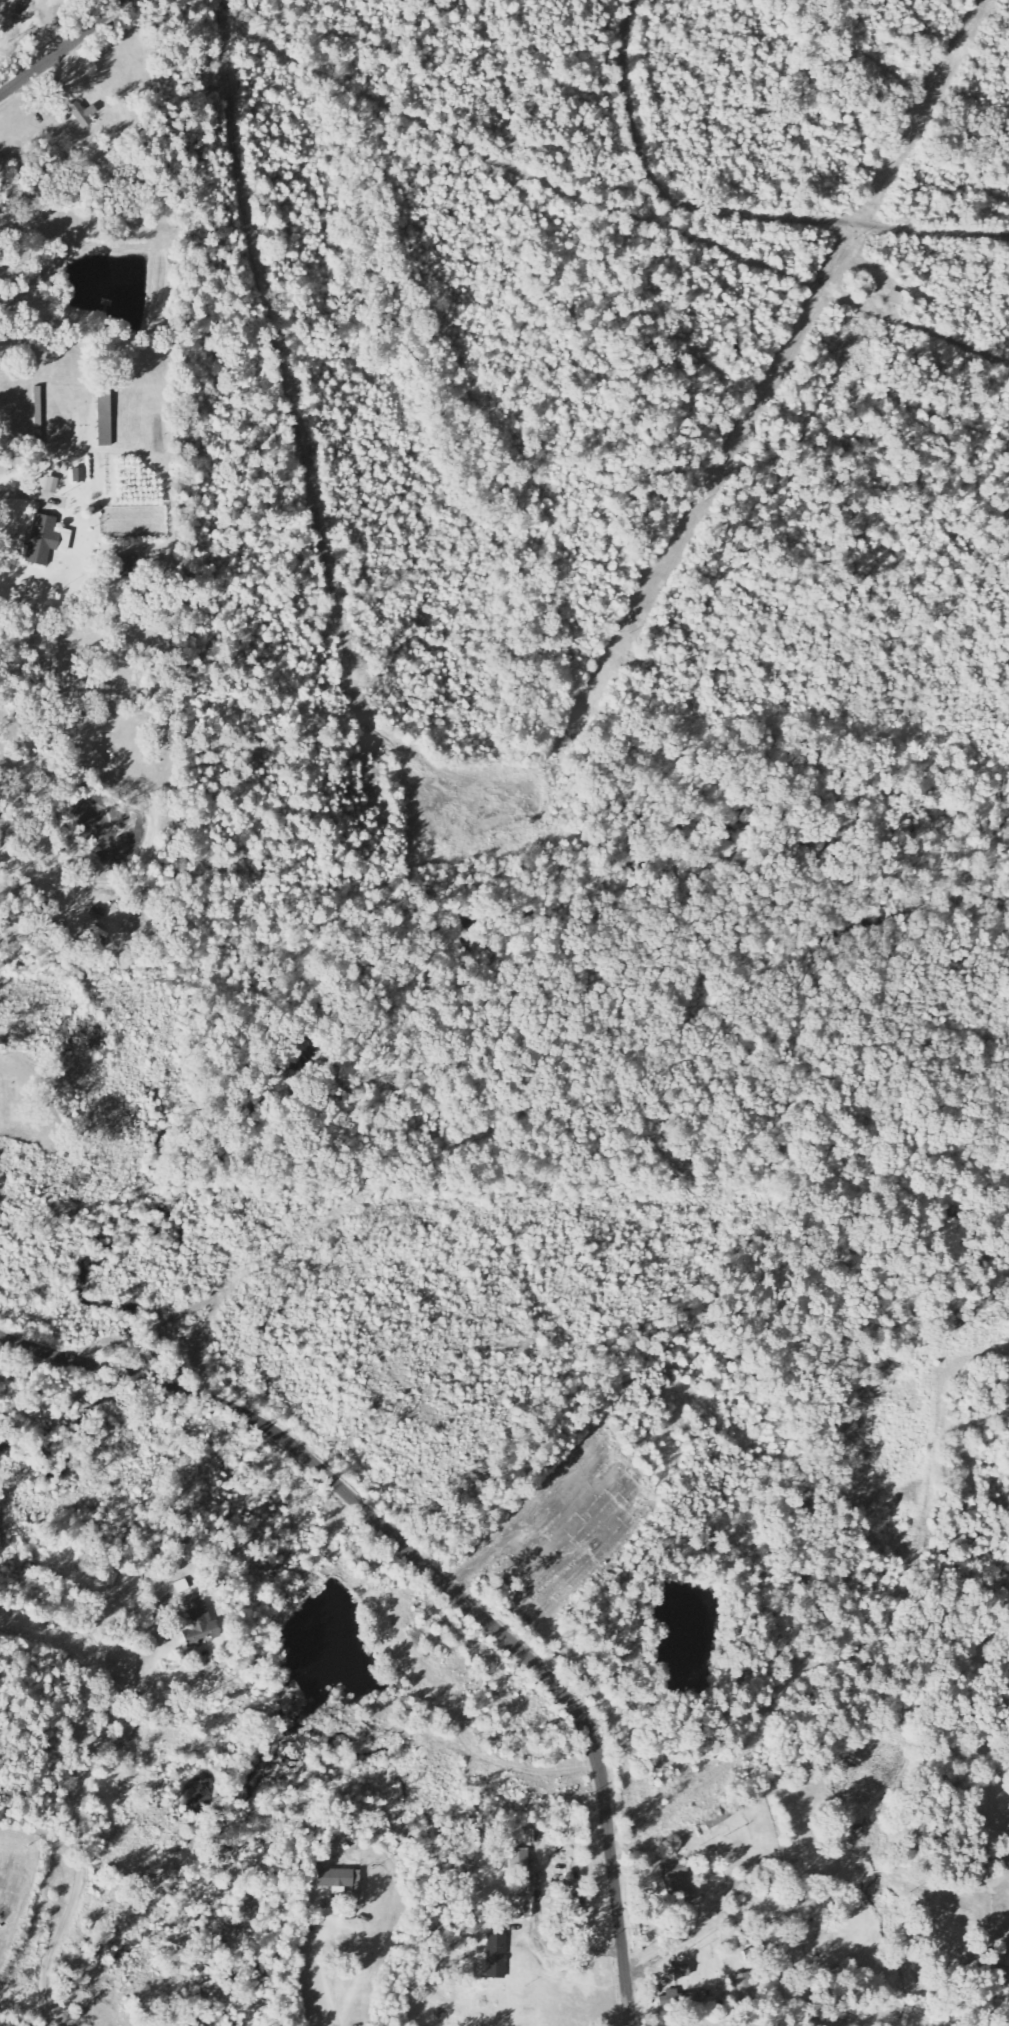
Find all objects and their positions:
building: (4, 0)
road: (60, 46)
building: (82, 114)
building: (78, 476)
building: (51, 486)
building: (46, 541)
road: (438, 1577)
building: (198, 1622)
road: (745, 1743)
building: (518, 1861)
building: (335, 1878)
building: (679, 1882)
building: (496, 1956)
building: (680, 1972)
building: (747, 1984)
building: (680, 1996)

